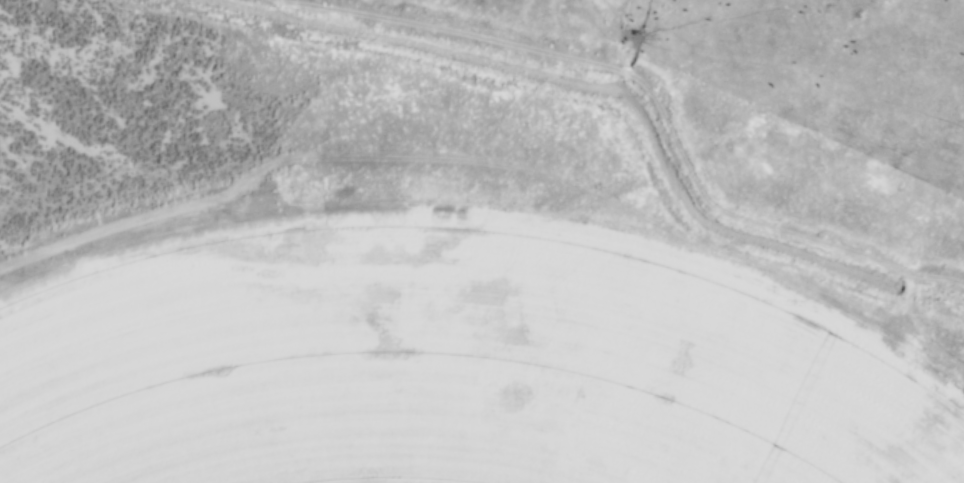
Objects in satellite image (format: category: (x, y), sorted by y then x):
crop: (440, 366)

